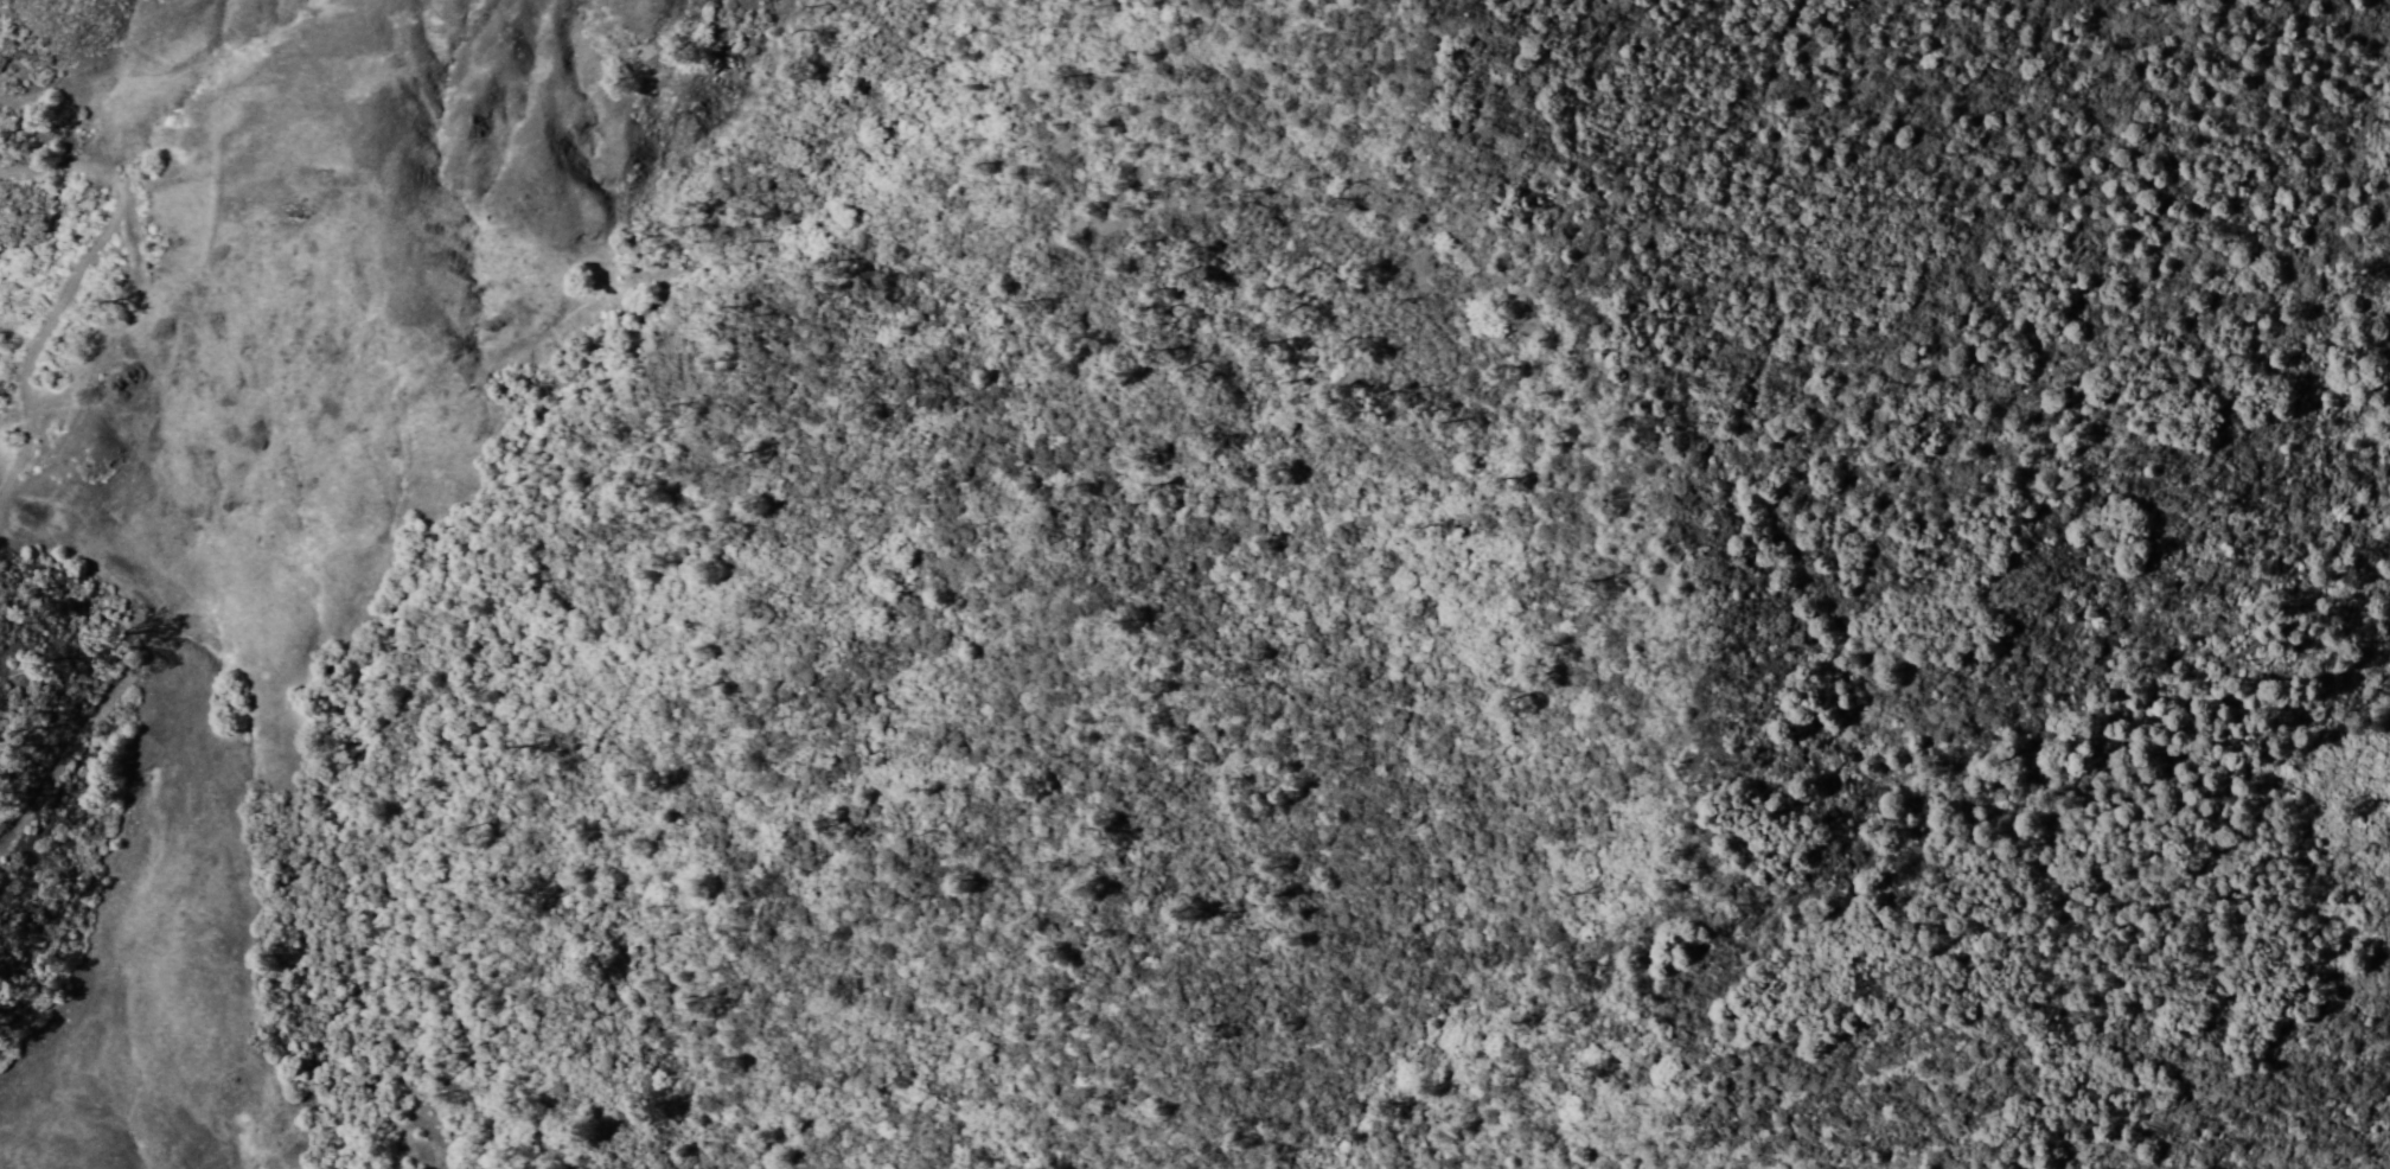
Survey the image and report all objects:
road: (78, 287)
road: (309, 560)

